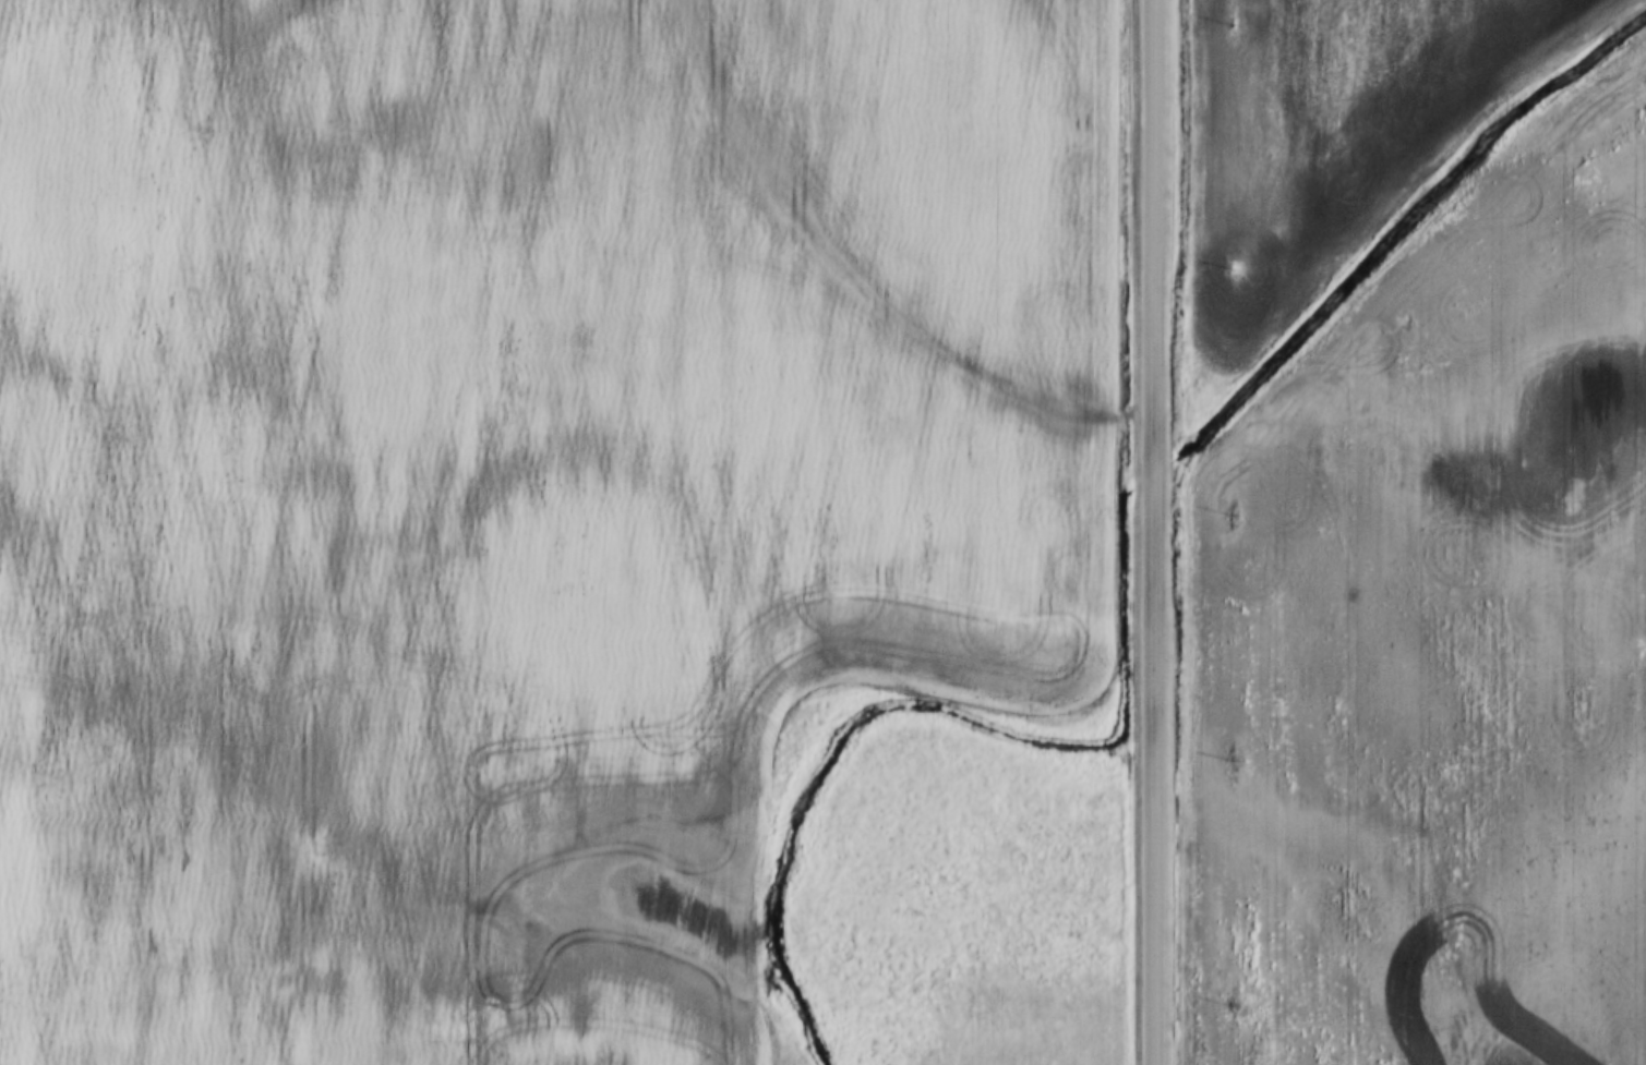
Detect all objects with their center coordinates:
road: (1151, 532)
river: (1104, 548)

